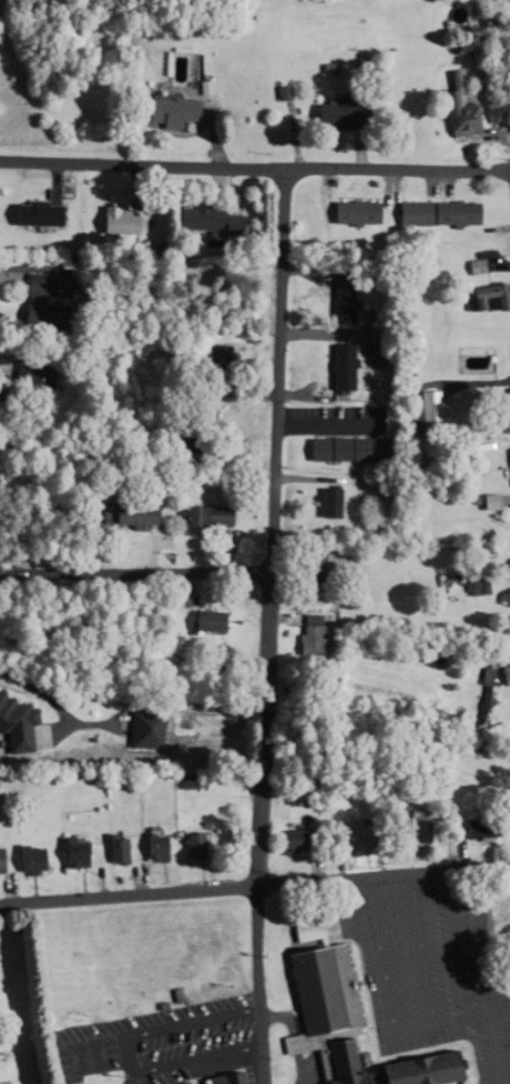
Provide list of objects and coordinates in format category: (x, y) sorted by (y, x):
road: (498, 49)
building: (459, 108)
building: (166, 112)
building: (335, 112)
road: (254, 168)
building: (350, 212)
building: (30, 213)
building: (436, 213)
building: (112, 220)
building: (204, 220)
building: (28, 285)
building: (488, 298)
building: (340, 300)
building: (29, 313)
building: (338, 367)
building: (501, 405)
building: (425, 406)
building: (339, 450)
building: (508, 461)
building: (325, 502)
building: (121, 515)
building: (198, 516)
road: (273, 526)
building: (313, 566)
building: (509, 568)
road: (135, 572)
building: (204, 621)
building: (309, 635)
building: (13, 726)
building: (143, 730)
building: (183, 781)
building: (478, 826)
building: (410, 831)
building: (348, 834)
building: (289, 841)
building: (188, 845)
building: (151, 847)
building: (113, 851)
building: (70, 852)
building: (28, 860)
building: (0, 861)
road: (384, 874)
road: (130, 894)
road: (462, 942)
road: (422, 947)
road: (380, 953)
road: (259, 984)
building: (318, 1003)
road: (451, 1018)
road: (497, 1046)
road: (133, 1054)
building: (418, 1070)
road: (142, 1080)
building: (216, 1081)

